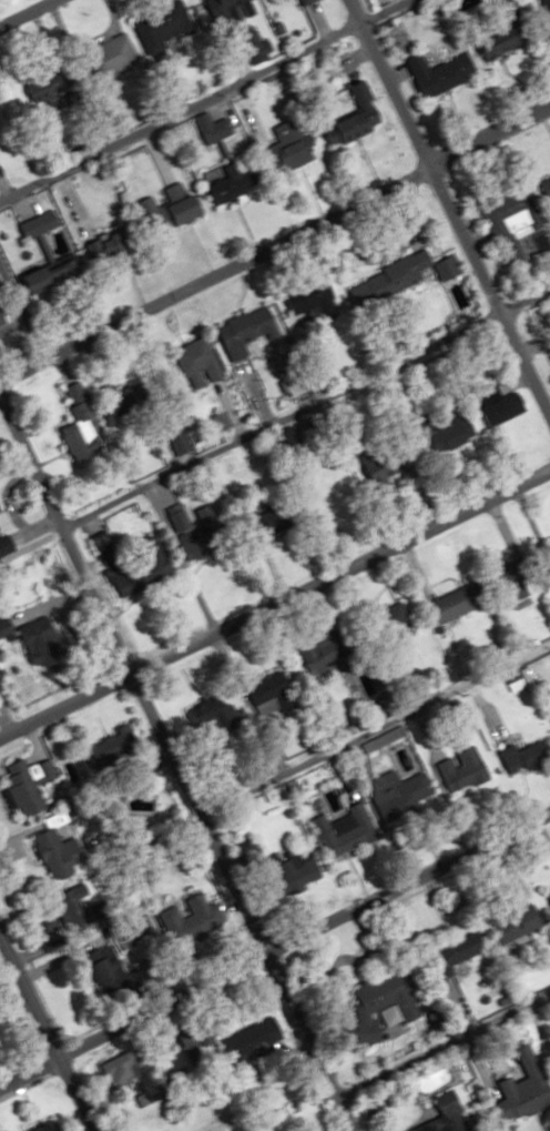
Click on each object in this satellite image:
building: (306, 1)
building: (240, 4)
road: (23, 11)
building: (492, 47)
building: (115, 57)
building: (434, 73)
building: (358, 117)
building: (213, 128)
building: (292, 147)
building: (234, 180)
building: (544, 191)
building: (175, 209)
road: (445, 218)
building: (507, 222)
building: (41, 223)
road: (275, 236)
building: (119, 240)
building: (448, 269)
building: (50, 276)
building: (324, 301)
building: (1, 319)
building: (246, 332)
building: (201, 363)
building: (549, 370)
road: (309, 406)
building: (505, 410)
building: (80, 431)
building: (459, 434)
building: (369, 460)
building: (202, 541)
building: (547, 553)
building: (111, 556)
building: (160, 559)
road: (275, 602)
building: (458, 603)
building: (399, 615)
building: (47, 644)
building: (336, 659)
building: (274, 701)
road: (375, 728)
road: (171, 753)
building: (511, 758)
building: (462, 768)
building: (28, 785)
building: (339, 829)
building: (63, 855)
building: (293, 870)
building: (546, 898)
building: (79, 905)
building: (506, 923)
road: (274, 946)
building: (446, 958)
building: (369, 1008)
road: (45, 1037)
road: (437, 1039)
building: (231, 1043)
building: (115, 1070)
building: (515, 1094)
building: (438, 1114)

